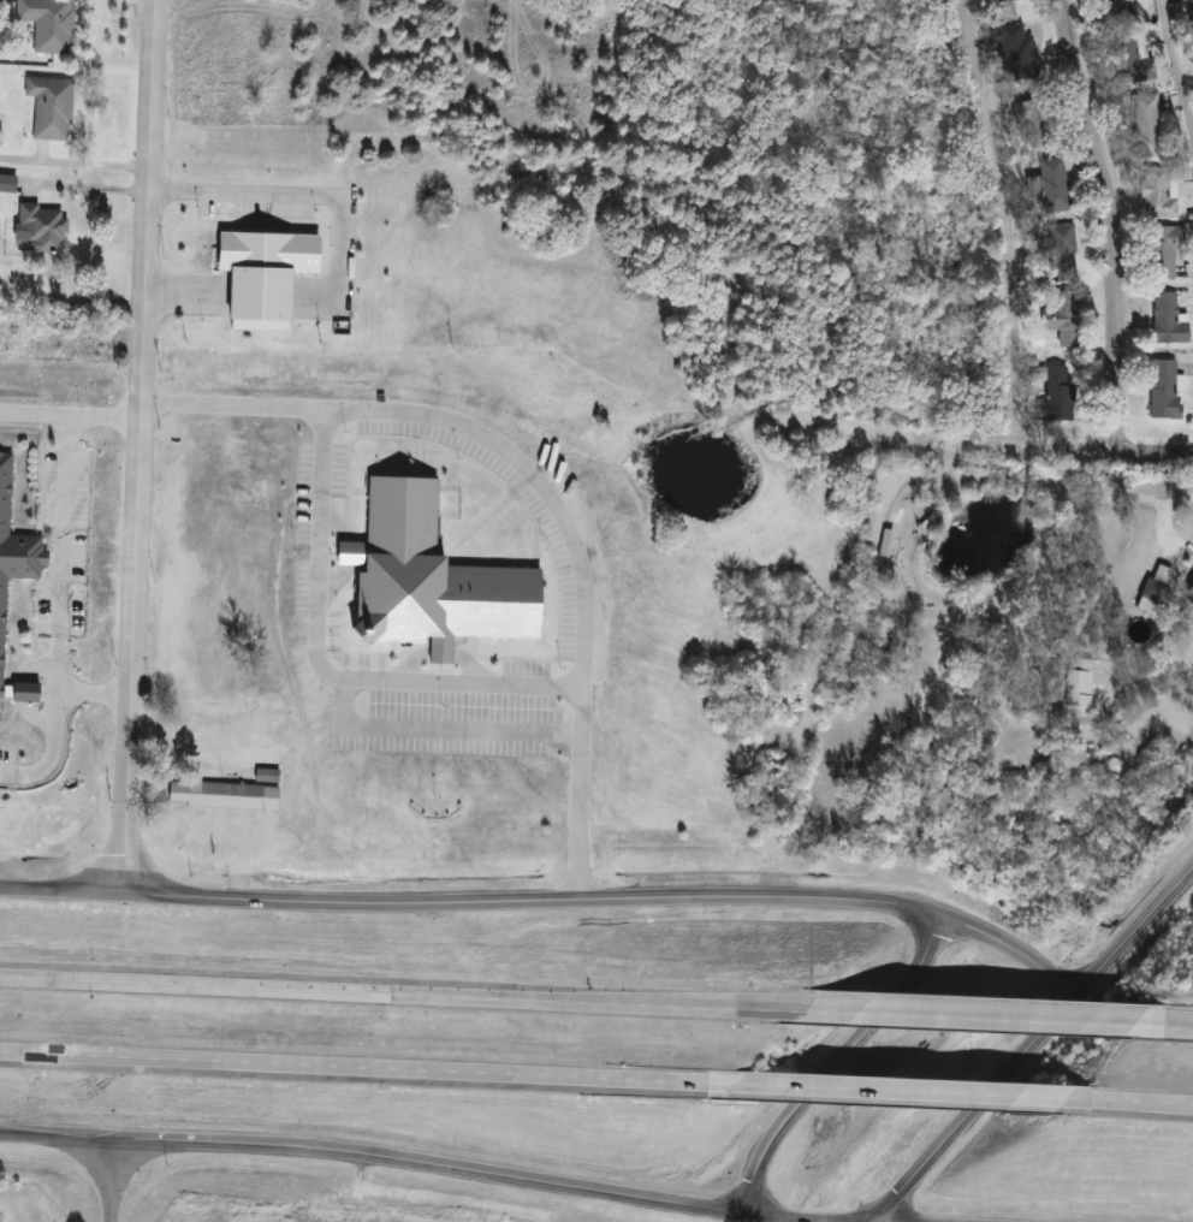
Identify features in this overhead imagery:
building: (1188, 12)
building: (46, 22)
building: (1126, 45)
building: (1011, 47)
building: (1192, 55)
road: (1174, 72)
building: (48, 105)
building: (1028, 125)
building: (1145, 125)
road: (75, 158)
building: (6, 182)
building: (1051, 185)
building: (1157, 192)
road: (286, 195)
road: (1108, 223)
building: (38, 226)
building: (1060, 248)
building: (1161, 251)
road: (1005, 269)
building: (267, 278)
road: (167, 295)
building: (1062, 316)
building: (1167, 320)
building: (1162, 390)
road: (31, 409)
road: (137, 445)
road: (1151, 452)
road: (540, 485)
road: (1159, 515)
building: (13, 546)
road: (58, 547)
building: (429, 580)
building: (1191, 587)
road: (320, 669)
building: (1076, 682)
building: (24, 690)
road: (1145, 710)
road: (440, 732)
road: (48, 748)
building: (225, 799)
road: (550, 898)
road: (400, 993)
road: (974, 1016)
road: (1169, 1022)
road: (1031, 1044)
road: (835, 1061)
road: (358, 1067)
road: (915, 1090)
road: (1153, 1101)
road: (55, 1137)
road: (475, 1171)
road: (109, 1181)
building: (313, 1217)

